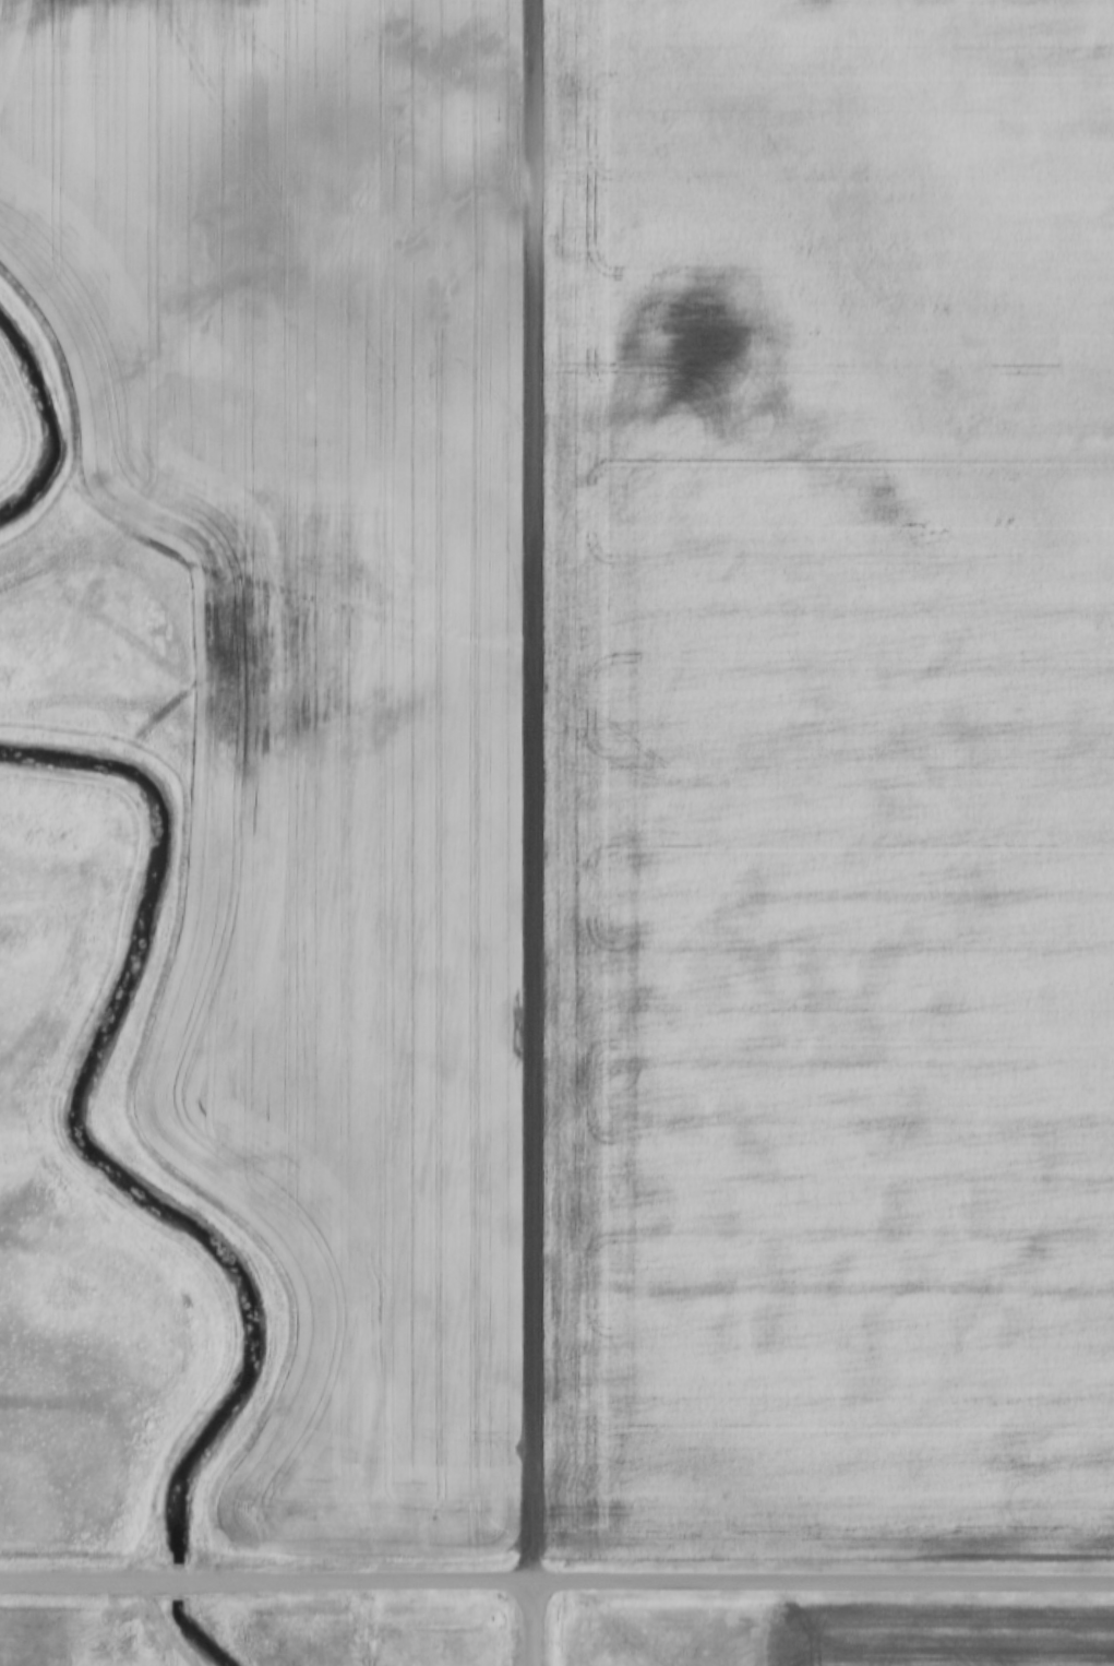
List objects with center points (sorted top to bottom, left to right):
building: (518, 590)
road: (534, 795)
road: (556, 1591)
road: (534, 1628)

